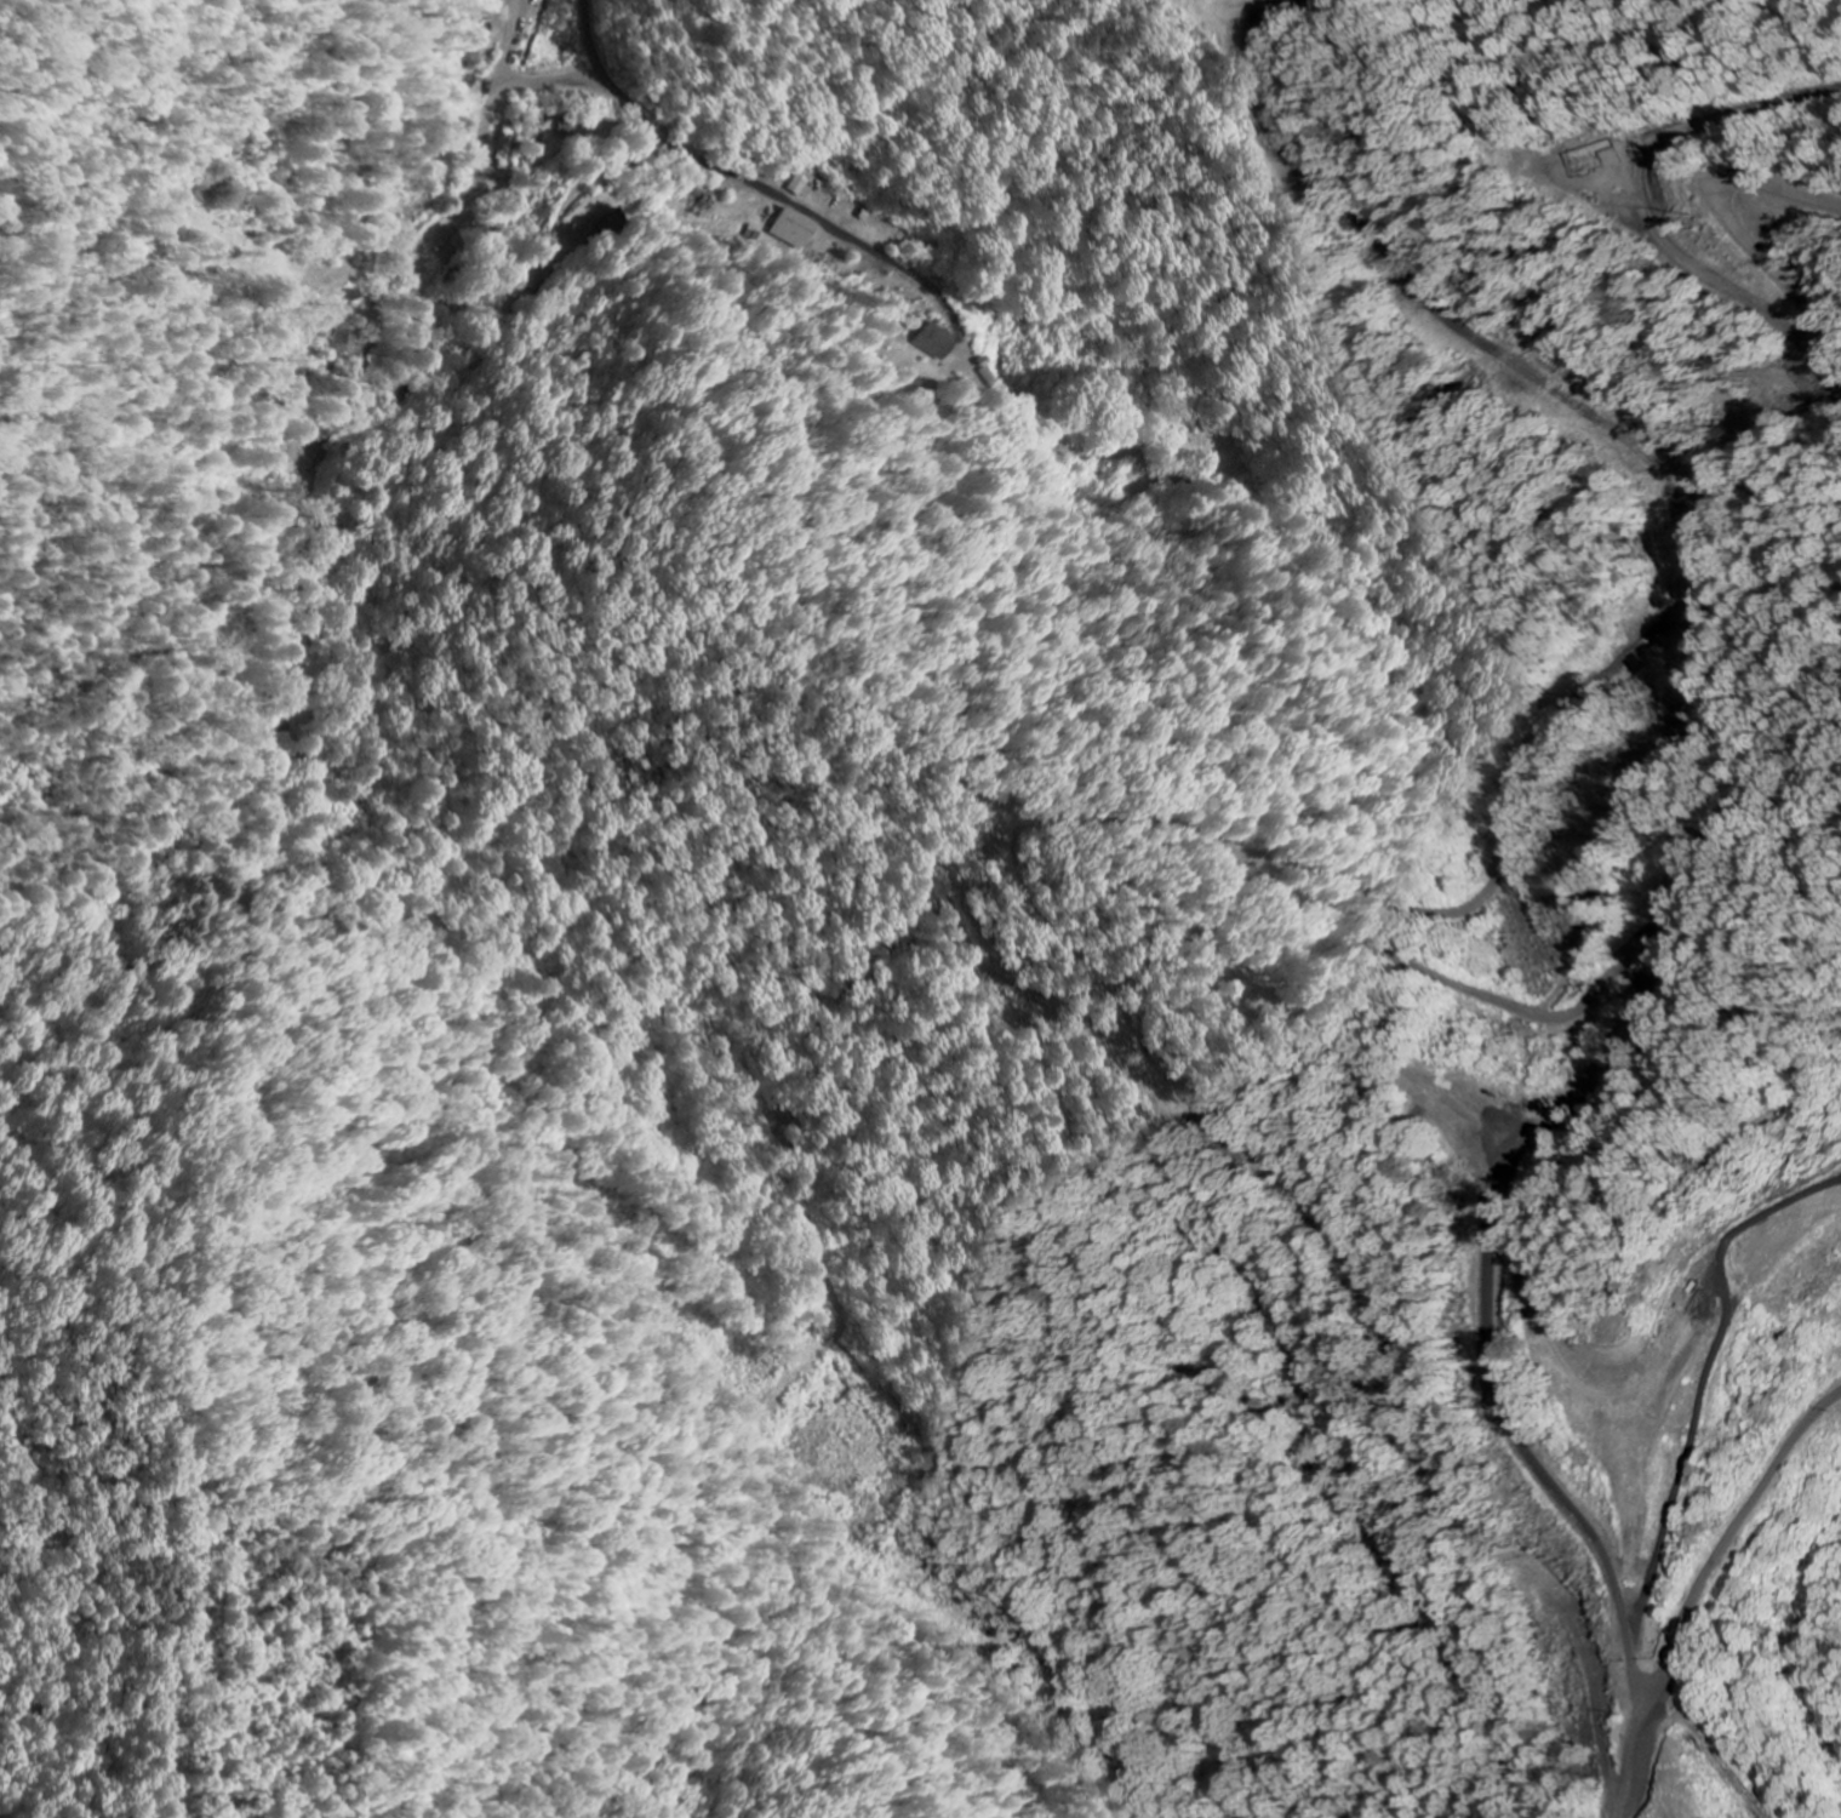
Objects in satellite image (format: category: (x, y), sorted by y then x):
road: (486, 132)
road: (676, 145)
building: (801, 185)
building: (799, 230)
building: (344, 343)
building: (938, 343)
road: (1699, 1591)

